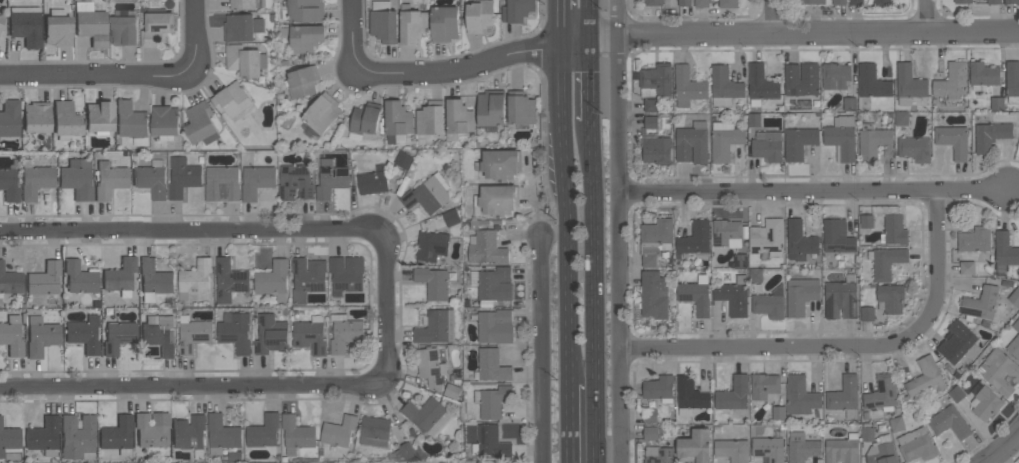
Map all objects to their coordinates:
building: (812, 1)
building: (963, 1)
building: (994, 1)
building: (1012, 1)
building: (653, 2)
building: (839, 2)
building: (856, 2)
building: (684, 3)
building: (702, 3)
building: (729, 3)
building: (883, 3)
building: (245, 4)
building: (302, 10)
building: (517, 10)
building: (479, 15)
road: (771, 16)
road: (925, 17)
road: (593, 18)
building: (1, 20)
building: (383, 22)
road: (558, 22)
building: (445, 23)
building: (91, 24)
building: (412, 24)
building: (25, 25)
building: (242, 27)
building: (157, 28)
building: (57, 29)
building: (124, 30)
road: (354, 33)
road: (820, 33)
road: (195, 34)
building: (1, 36)
building: (303, 37)
building: (245, 60)
road: (491, 60)
building: (836, 75)
building: (983, 75)
road: (97, 76)
road: (593, 78)
building: (802, 79)
building: (656, 80)
building: (951, 80)
building: (1012, 80)
building: (303, 81)
building: (872, 82)
building: (688, 85)
building: (761, 85)
building: (724, 86)
building: (910, 86)
building: (232, 99)
building: (850, 103)
building: (997, 103)
building: (650, 104)
building: (491, 107)
building: (522, 109)
building: (323, 113)
building: (99, 117)
building: (459, 117)
building: (36, 118)
building: (366, 118)
building: (430, 118)
building: (902, 118)
building: (10, 119)
building: (754, 119)
building: (66, 121)
building: (397, 121)
building: (131, 122)
building: (165, 122)
building: (651, 122)
building: (201, 123)
building: (990, 136)
building: (841, 137)
building: (725, 140)
building: (953, 140)
building: (873, 141)
building: (693, 143)
building: (799, 143)
building: (767, 145)
building: (655, 147)
building: (915, 148)
building: (404, 160)
building: (500, 164)
building: (183, 176)
building: (331, 178)
building: (77, 179)
building: (151, 179)
building: (256, 179)
building: (109, 180)
building: (373, 180)
building: (35, 181)
building: (296, 182)
building: (222, 183)
building: (9, 186)
road: (813, 189)
building: (428, 194)
building: (497, 200)
road: (566, 213)
building: (451, 217)
building: (867, 221)
building: (894, 229)
road: (620, 231)
building: (727, 233)
building: (656, 236)
building: (837, 236)
building: (767, 238)
building: (975, 239)
building: (695, 240)
building: (799, 241)
building: (432, 246)
building: (487, 247)
building: (1004, 252)
building: (649, 260)
building: (741, 260)
building: (886, 261)
building: (967, 268)
building: (347, 273)
building: (755, 275)
building: (120, 277)
building: (307, 277)
building: (80, 278)
building: (44, 279)
building: (153, 280)
building: (196, 280)
building: (273, 280)
building: (9, 282)
building: (231, 282)
building: (433, 283)
building: (495, 283)
road: (593, 291)
building: (654, 294)
building: (696, 294)
building: (733, 295)
building: (801, 295)
building: (1014, 296)
building: (841, 298)
building: (890, 298)
building: (981, 302)
building: (770, 303)
road: (389, 305)
building: (868, 314)
building: (1016, 325)
building: (495, 326)
building: (435, 327)
building: (235, 331)
building: (344, 332)
building: (83, 334)
building: (160, 334)
building: (193, 334)
building: (271, 334)
building: (310, 335)
building: (11, 336)
building: (41, 336)
building: (118, 337)
building: (958, 342)
road: (845, 345)
building: (1014, 346)
road: (540, 350)
building: (492, 365)
building: (431, 367)
building: (1001, 371)
building: (926, 378)
building: (764, 386)
building: (660, 388)
building: (452, 390)
building: (882, 393)
building: (956, 394)
building: (689, 395)
building: (735, 395)
building: (800, 395)
building: (845, 396)
building: (492, 400)
building: (985, 401)
building: (778, 412)
building: (428, 415)
building: (650, 415)
building: (950, 422)
road: (567, 423)
building: (897, 424)
building: (152, 430)
building: (263, 431)
building: (375, 431)
building: (340, 432)
building: (650, 432)
building: (189, 433)
building: (222, 434)
building: (296, 434)
building: (867, 434)
building: (117, 436)
building: (44, 437)
building: (77, 438)
building: (9, 440)
building: (491, 442)
building: (917, 444)
building: (695, 447)
building: (802, 447)
building: (769, 448)
building: (842, 449)
building: (732, 450)
road: (1003, 450)
building: (882, 451)
building: (408, 452)
building: (659, 454)

